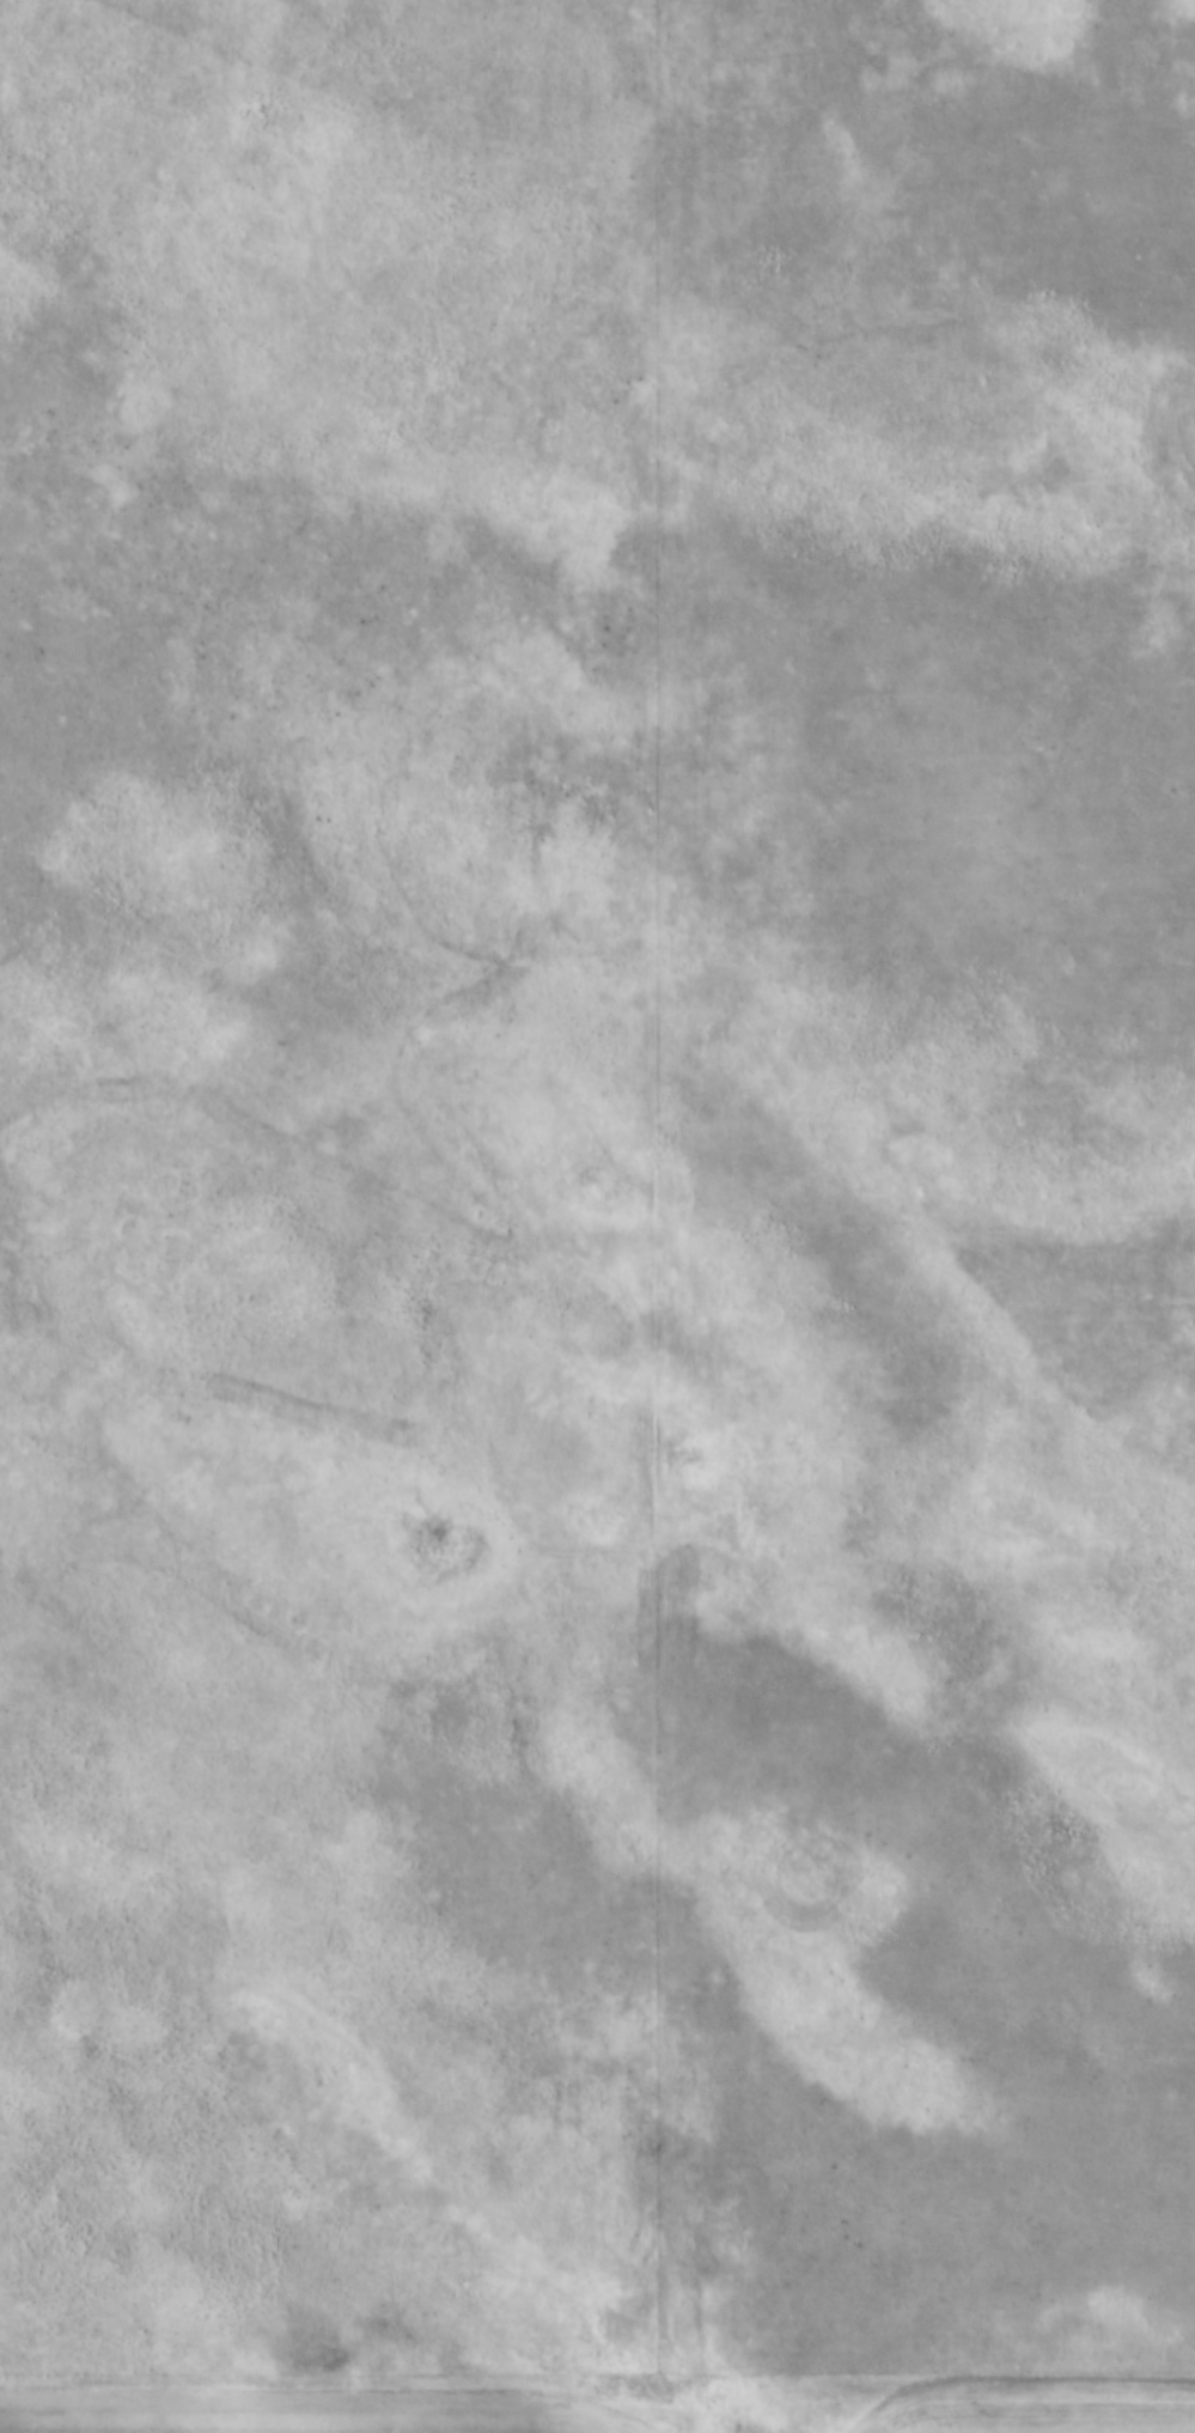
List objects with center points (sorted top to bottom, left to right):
road: (690, 1216)
road: (597, 2383)

